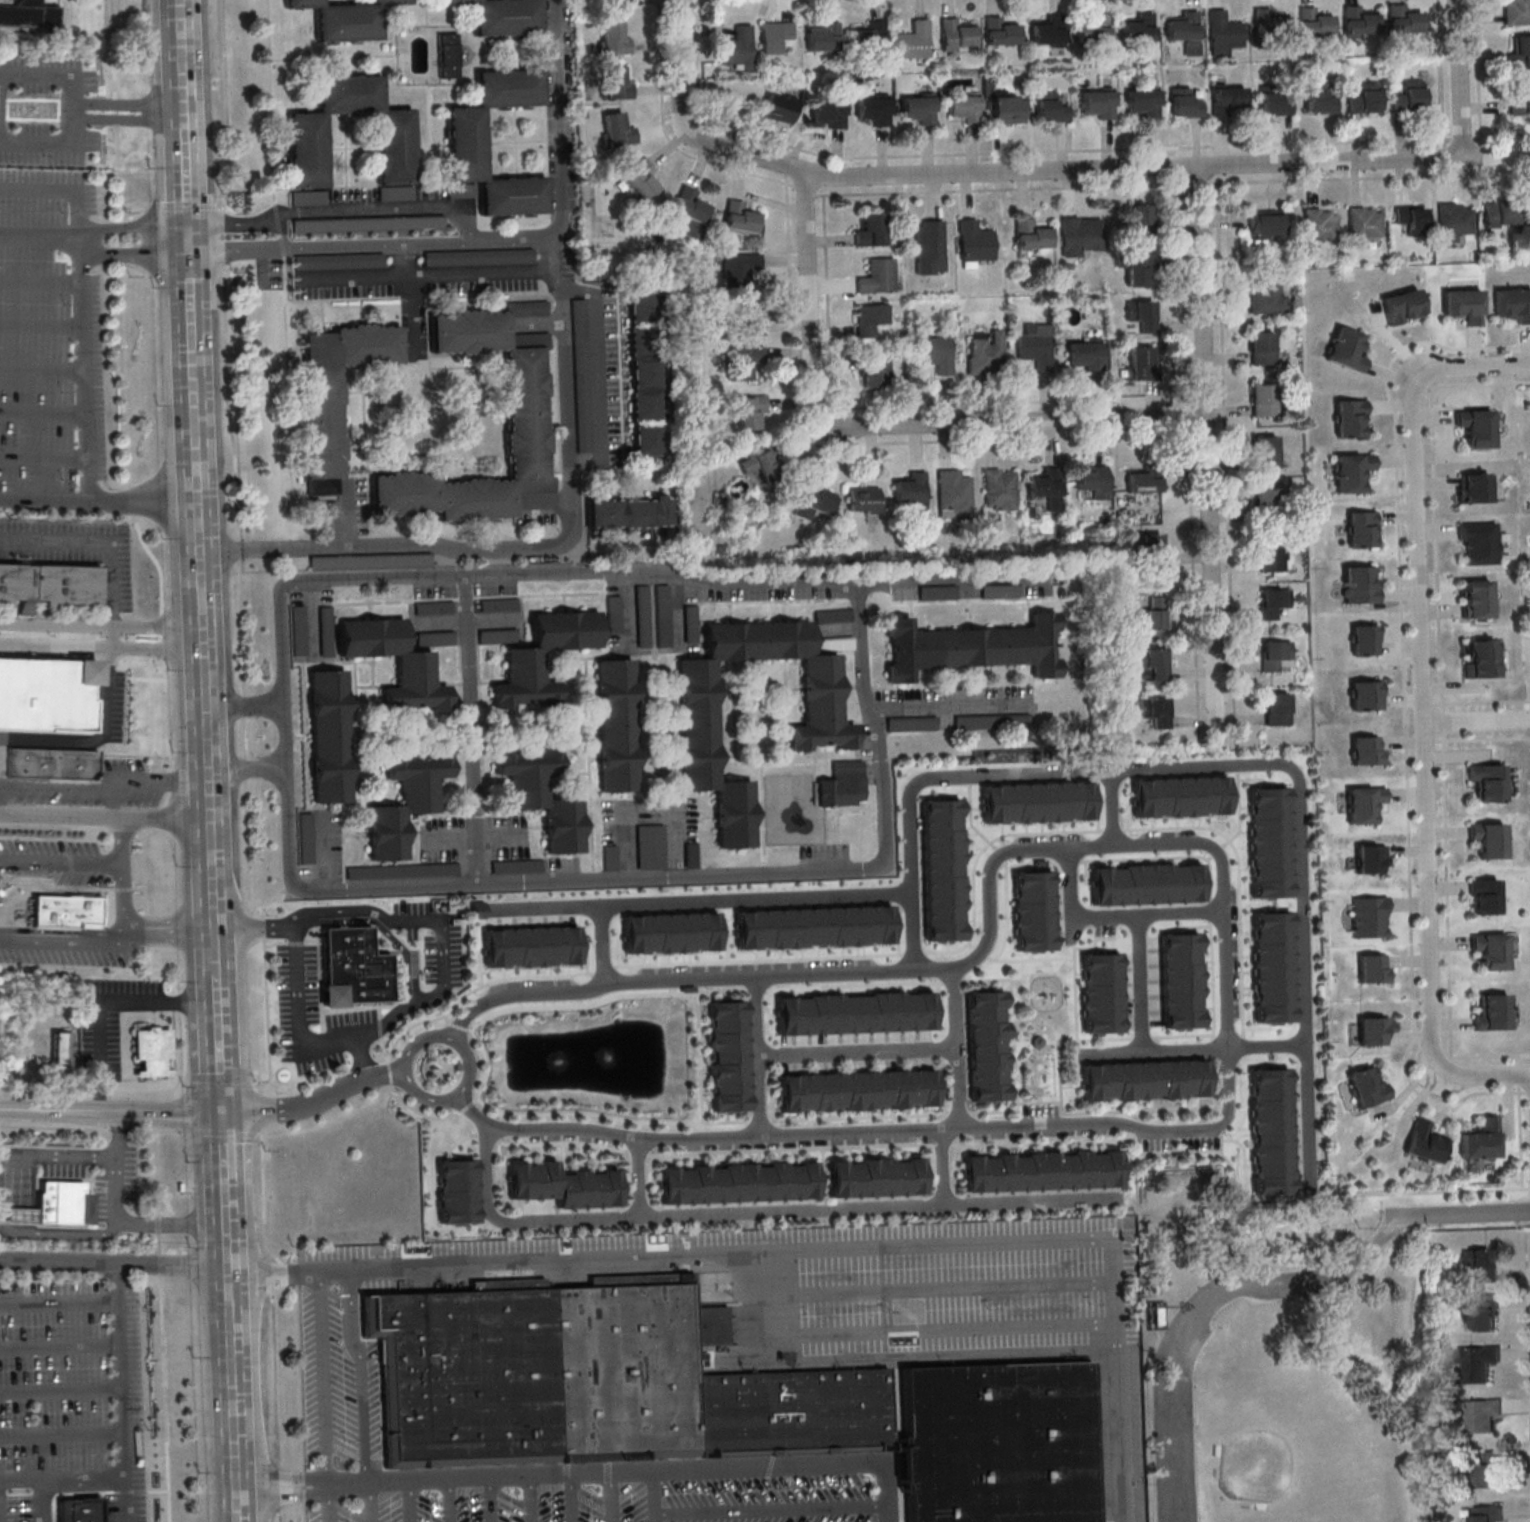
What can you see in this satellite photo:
building: (621, 3)
building: (1517, 12)
building: (28, 15)
building: (505, 17)
building: (346, 19)
building: (1405, 20)
building: (1360, 21)
building: (1313, 22)
building: (1271, 23)
building: (1092, 28)
building: (1139, 28)
building: (1047, 30)
building: (1185, 30)
building: (1000, 32)
building: (1225, 32)
building: (868, 34)
building: (956, 35)
building: (776, 36)
building: (823, 37)
building: (613, 39)
building: (913, 39)
building: (737, 47)
building: (1519, 52)
building: (447, 55)
road: (184, 57)
road: (681, 67)
road: (1479, 71)
road: (52, 77)
road: (1463, 77)
road: (1443, 78)
building: (616, 83)
building: (1410, 95)
building: (1229, 98)
building: (1521, 98)
building: (1319, 99)
building: (1364, 100)
building: (1142, 102)
building: (1185, 102)
building: (1098, 103)
building: (1276, 103)
building: (780, 107)
building: (919, 107)
building: (964, 107)
building: (1051, 107)
parking lot: (46, 108)
building: (874, 109)
building: (1007, 110)
building: (828, 114)
road: (131, 115)
road: (187, 122)
building: (617, 129)
road: (667, 136)
road: (1460, 138)
road: (1471, 138)
building: (466, 141)
road: (53, 147)
building: (307, 147)
road: (1018, 151)
road: (189, 157)
road: (1103, 166)
building: (642, 180)
road: (1161, 182)
road: (68, 189)
building: (462, 191)
road: (190, 205)
road: (389, 210)
building: (690, 210)
building: (1503, 215)
building: (740, 216)
building: (1413, 218)
building: (1140, 220)
building: (1455, 220)
building: (431, 223)
building: (1365, 223)
building: (1266, 224)
building: (1320, 224)
road: (184, 226)
traffic signals: (191, 226)
building: (870, 229)
road: (277, 232)
building: (1080, 234)
building: (1030, 236)
road: (521, 238)
road: (44, 239)
building: (975, 241)
road: (377, 243)
building: (930, 246)
road: (185, 249)
traffic signals: (192, 249)
building: (520, 255)
building: (740, 268)
building: (1139, 268)
building: (878, 275)
road: (435, 276)
road: (44, 281)
road: (193, 286)
road: (412, 292)
building: (1268, 297)
building: (1514, 304)
road: (829, 305)
building: (1402, 305)
building: (1465, 305)
building: (1143, 314)
building: (746, 319)
building: (871, 319)
road: (44, 325)
parking lot: (51, 344)
building: (1036, 344)
building: (1263, 347)
building: (1347, 349)
building: (936, 353)
building: (986, 354)
building: (1086, 357)
building: (745, 361)
road: (195, 362)
building: (1141, 362)
road: (44, 369)
building: (876, 370)
road: (89, 371)
building: (644, 373)
building: (581, 377)
road: (596, 377)
road: (1472, 385)
building: (337, 392)
building: (1264, 399)
road: (1011, 402)
building: (750, 411)
building: (527, 412)
road: (45, 413)
building: (1350, 417)
road: (833, 421)
road: (888, 426)
building: (1475, 427)
road: (1227, 446)
road: (860, 447)
road: (1190, 447)
building: (1268, 451)
road: (1207, 453)
road: (572, 456)
road: (45, 458)
road: (198, 462)
building: (760, 465)
building: (1352, 471)
building: (1094, 480)
building: (1144, 480)
building: (1047, 486)
building: (1475, 487)
building: (1000, 489)
building: (912, 492)
building: (954, 493)
building: (1266, 493)
road: (100, 500)
building: (629, 513)
building: (1363, 528)
road: (1436, 539)
road: (95, 541)
building: (1479, 542)
building: (1150, 554)
building: (1272, 556)
parking lot: (64, 561)
building: (372, 561)
road: (1401, 573)
road: (954, 577)
building: (1360, 584)
building: (48, 586)
building: (1000, 590)
building: (938, 592)
building: (1476, 598)
building: (1274, 602)
building: (493, 605)
building: (434, 607)
building: (833, 615)
building: (1153, 618)
road: (102, 624)
road: (113, 634)
building: (497, 635)
building: (436, 638)
building: (1365, 639)
road: (102, 642)
building: (834, 643)
building: (972, 646)
road: (652, 650)
building: (1277, 655)
road: (1424, 656)
building: (542, 658)
building: (1481, 659)
building: (1153, 664)
building: (414, 670)
building: (53, 682)
building: (1365, 695)
parking lot: (67, 701)
road: (1482, 701)
road: (953, 702)
road: (246, 704)
road: (1431, 704)
building: (1277, 708)
building: (1156, 710)
road: (1442, 721)
road: (1477, 721)
building: (992, 722)
building: (912, 723)
building: (616, 724)
road: (472, 731)
road: (877, 734)
road: (285, 735)
building: (328, 736)
building: (822, 736)
road: (1483, 738)
road: (99, 739)
road: (1432, 740)
road: (209, 742)
building: (1367, 750)
building: (51, 762)
road: (248, 771)
road: (161, 780)
building: (1485, 781)
road: (922, 782)
building: (841, 787)
road: (1, 789)
road: (59, 791)
building: (1183, 792)
building: (542, 795)
building: (1041, 797)
building: (405, 801)
road: (116, 805)
building: (1366, 805)
road: (650, 806)
road: (106, 817)
building: (305, 838)
building: (1272, 838)
building: (1488, 838)
road: (126, 839)
road: (1167, 843)
building: (651, 846)
road: (327, 853)
building: (692, 854)
road: (1304, 854)
building: (610, 857)
building: (1374, 861)
building: (946, 865)
building: (517, 866)
building: (402, 871)
building: (1151, 878)
building: (1484, 895)
parking lot: (68, 900)
road: (123, 900)
road: (700, 901)
road: (1448, 905)
building: (1037, 906)
building: (65, 912)
building: (1370, 916)
road: (1117, 917)
building: (816, 922)
building: (674, 926)
road: (167, 929)
building: (534, 941)
road: (603, 946)
building: (1491, 950)
road: (409, 953)
road: (216, 956)
building: (353, 968)
building: (1276, 969)
building: (1375, 969)
parking lot: (355, 974)
road: (820, 976)
building: (1185, 976)
road: (445, 978)
road: (1227, 982)
road: (1141, 983)
building: (1105, 988)
road: (216, 997)
road: (106, 1003)
building: (859, 1008)
building: (1495, 1013)
parking lot: (110, 1017)
building: (1375, 1030)
road: (456, 1041)
building: (1040, 1043)
building: (988, 1045)
road: (1270, 1045)
building: (10, 1048)
building: (62, 1048)
road: (1157, 1049)
road: (958, 1050)
building: (151, 1051)
road: (859, 1051)
road: (702, 1053)
building: (727, 1054)
road: (1490, 1055)
fountain: (580, 1056)
road: (1444, 1057)
road: (364, 1058)
road: (760, 1059)
road: (1520, 1059)
road: (219, 1065)
road: (1408, 1069)
road: (1520, 1074)
road: (1475, 1075)
building: (1146, 1079)
building: (1370, 1088)
road: (342, 1089)
building: (858, 1089)
road: (1528, 1091)
road: (422, 1097)
parking lot: (1041, 1110)
road: (249, 1111)
road: (66, 1112)
traffic signals: (221, 1112)
road: (176, 1113)
road: (473, 1114)
building: (1275, 1133)
road: (864, 1136)
road: (1523, 1136)
road: (1223, 1138)
building: (1482, 1140)
parking lot: (1179, 1141)
building: (1426, 1141)
road: (222, 1150)
road: (82, 1159)
building: (1045, 1169)
road: (944, 1170)
building: (876, 1177)
road: (641, 1180)
building: (739, 1182)
building: (566, 1186)
park: (1182, 1190)
road: (1458, 1190)
road: (120, 1192)
building: (459, 1192)
building: (56, 1204)
road: (766, 1215)
road: (1464, 1215)
road: (1521, 1216)
road: (1223, 1221)
road: (226, 1226)
road: (112, 1227)
road: (695, 1256)
building: (1481, 1263)
road: (228, 1283)
road: (1203, 1304)
building: (1481, 1312)
road: (1525, 1343)
building: (1474, 1362)
parking lot: (728, 1376)
building: (595, 1379)
park: (1290, 1380)
parking lot: (72, 1390)
road: (119, 1391)
road: (233, 1395)
building: (1481, 1414)
park: (1290, 1435)
building: (998, 1442)
parking lot: (1177, 1444)
building: (1488, 1470)
road: (589, 1474)
building: (76, 1494)
road: (656, 1497)
road: (572, 1498)
road: (609, 1498)
road: (530, 1499)
road: (494, 1500)
road: (410, 1501)
road: (450, 1501)
road: (369, 1502)
road: (331, 1503)
road: (237, 1504)
road: (772, 1509)
building: (1487, 1513)
building: (78, 1519)

